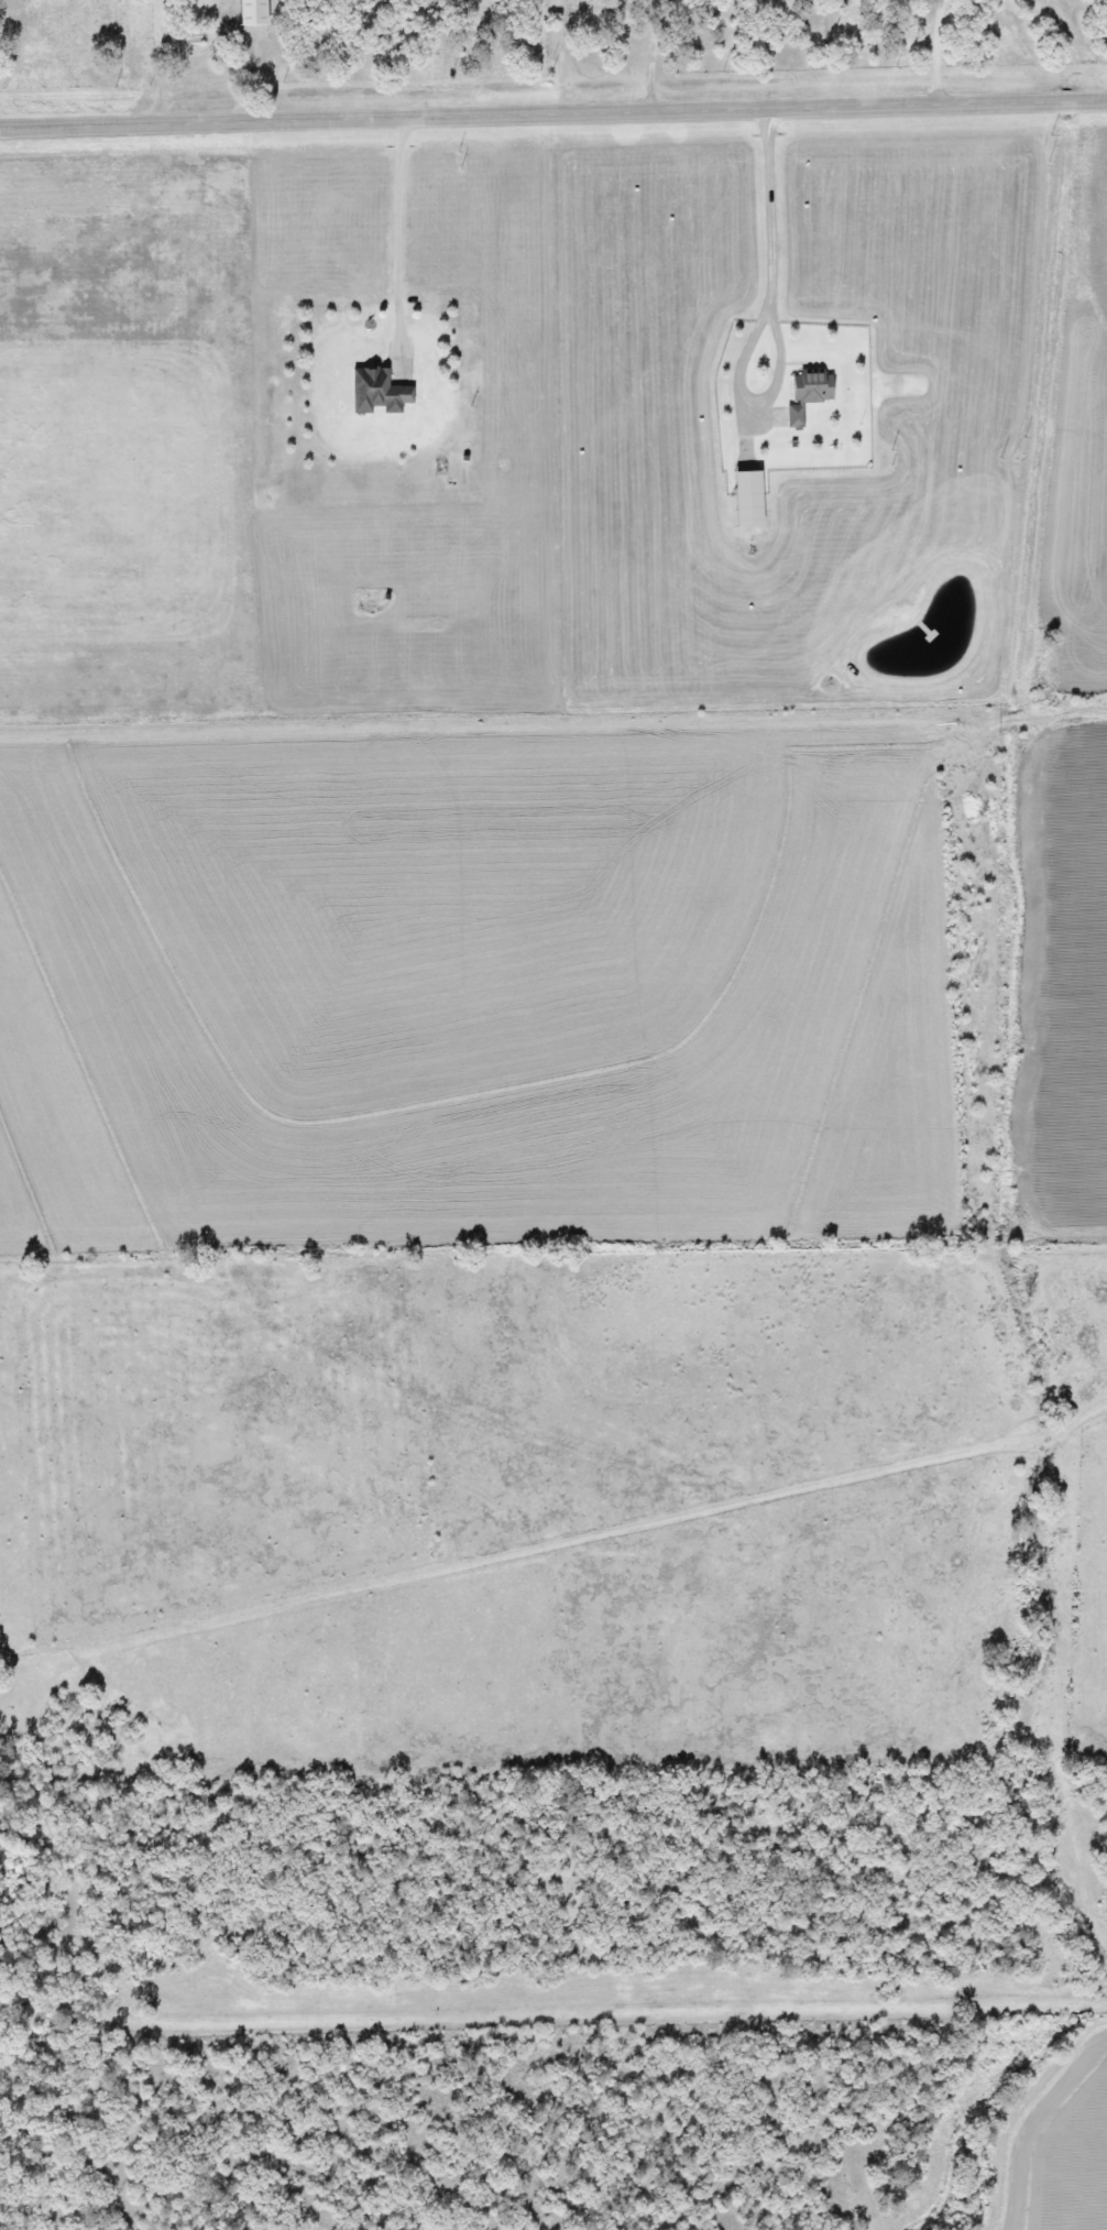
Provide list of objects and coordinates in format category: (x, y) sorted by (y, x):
road: (604, 4)
building: (249, 13)
road: (933, 53)
road: (553, 114)
road: (393, 236)
road: (766, 236)
building: (374, 392)
building: (804, 394)

